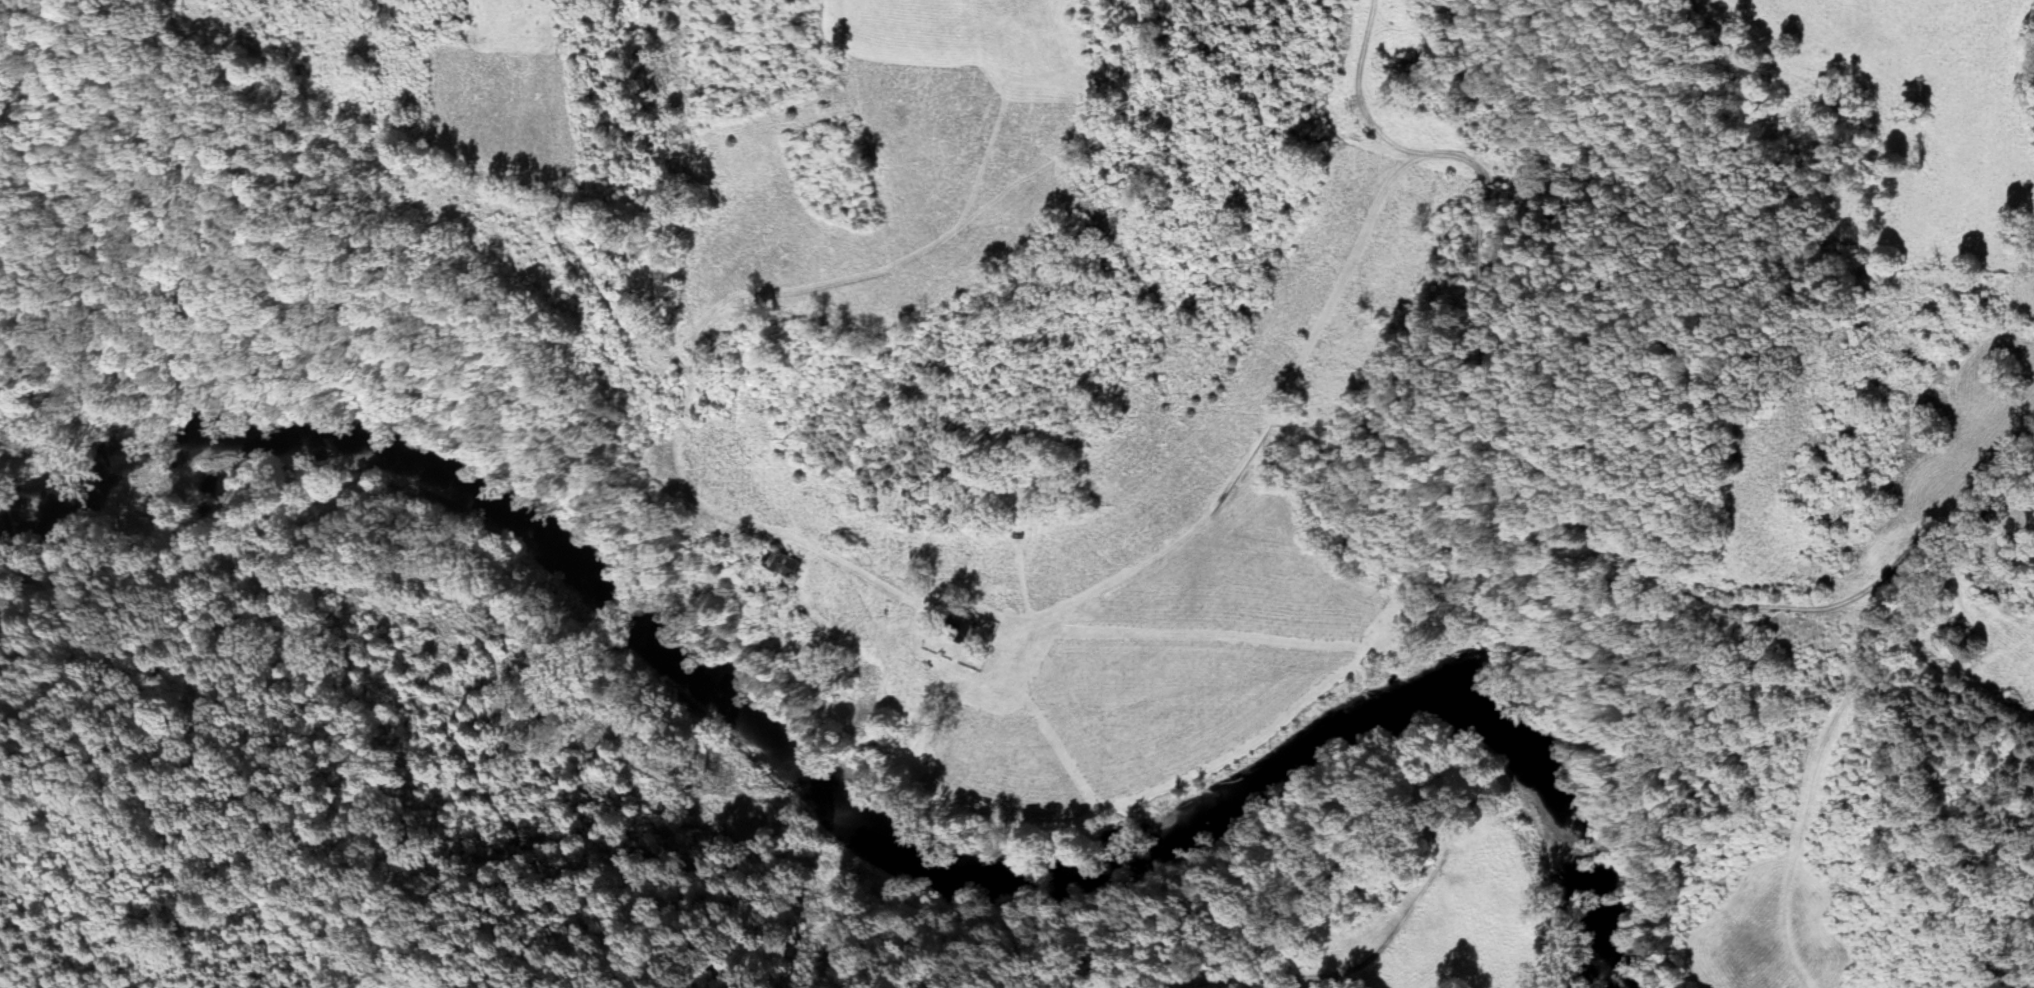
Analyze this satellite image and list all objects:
building: (776, 563)
building: (958, 632)

